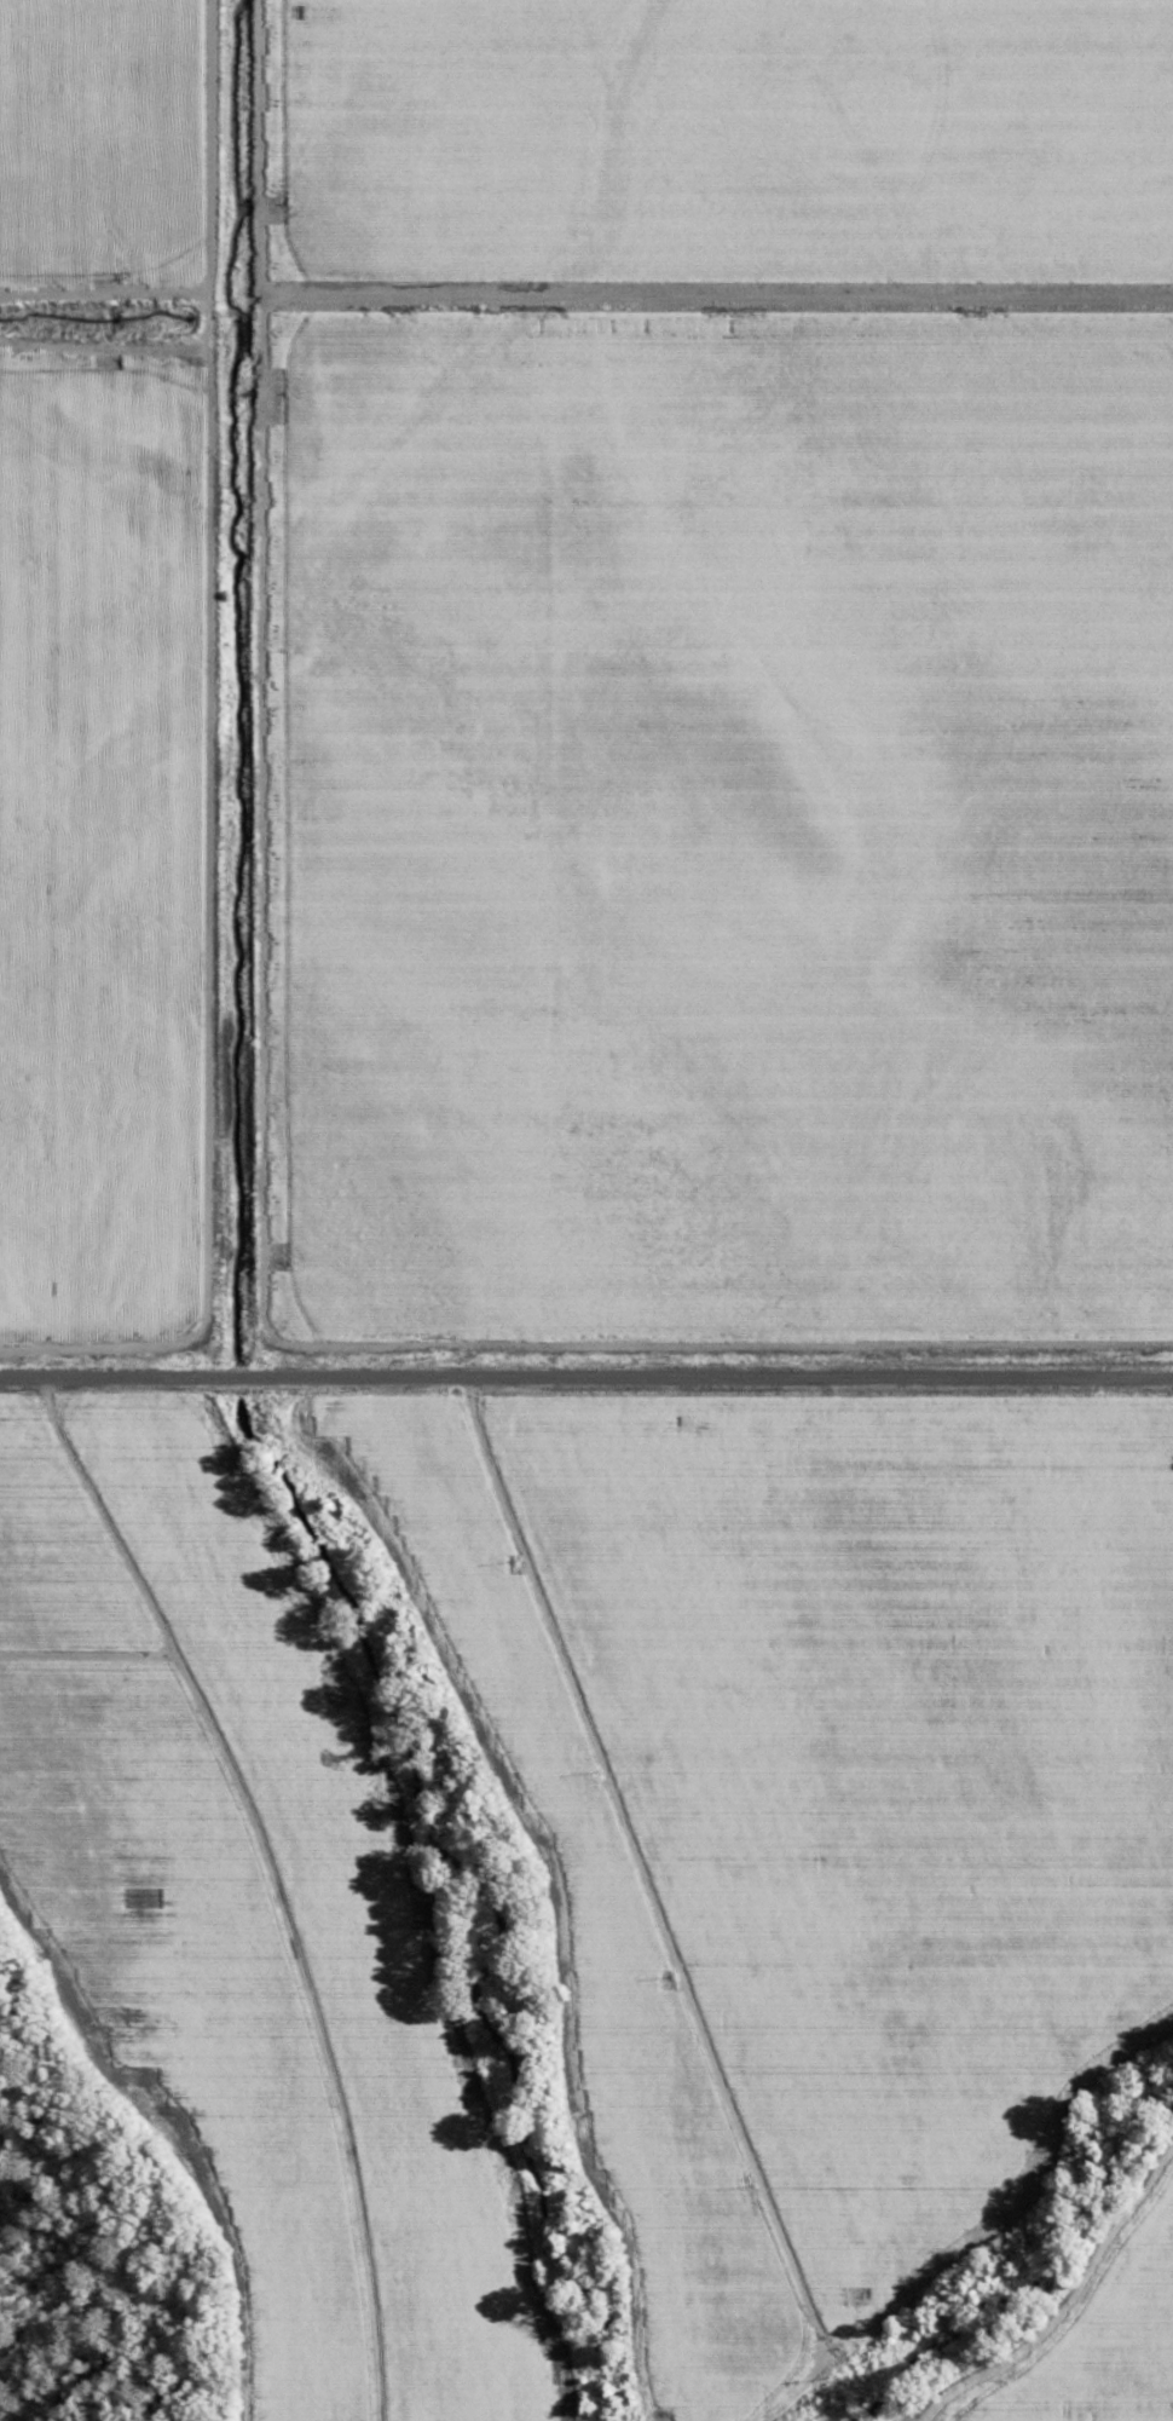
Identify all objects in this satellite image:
road: (13, 1328)
road: (585, 1379)

